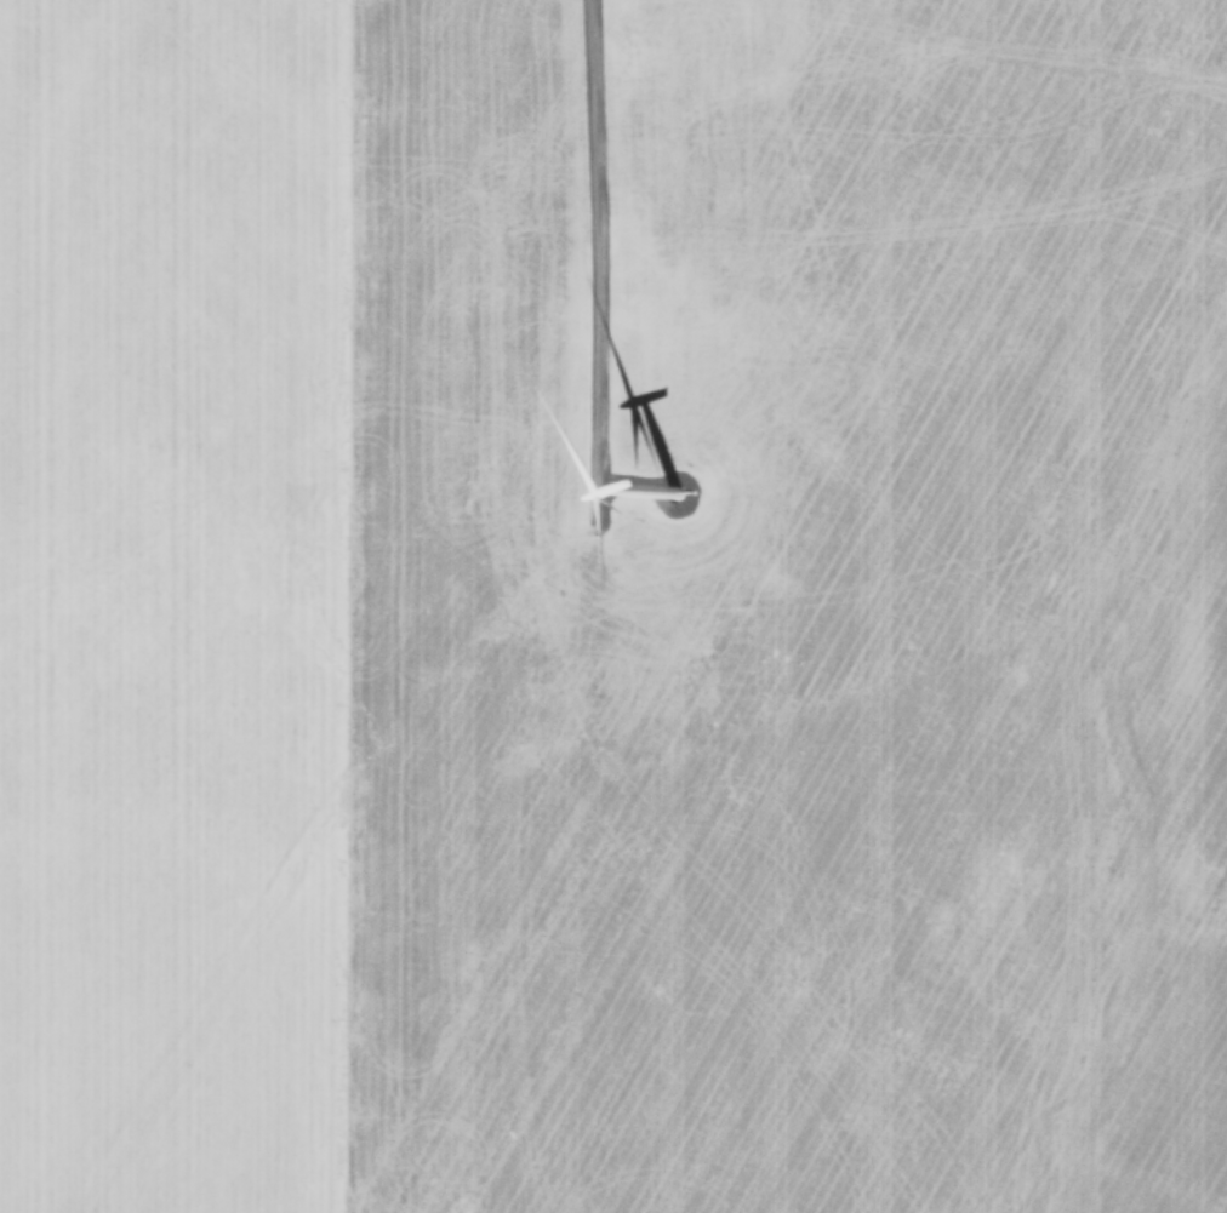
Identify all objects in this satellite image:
road: (589, 253)
wind turbine: (667, 488)

